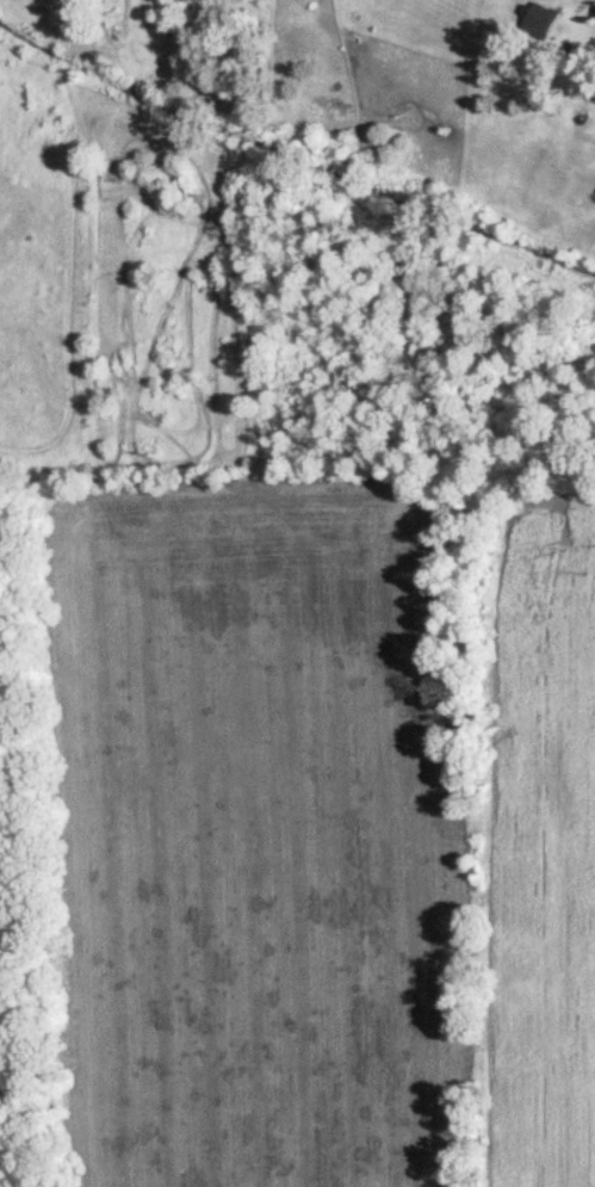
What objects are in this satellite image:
building: (534, 18)

